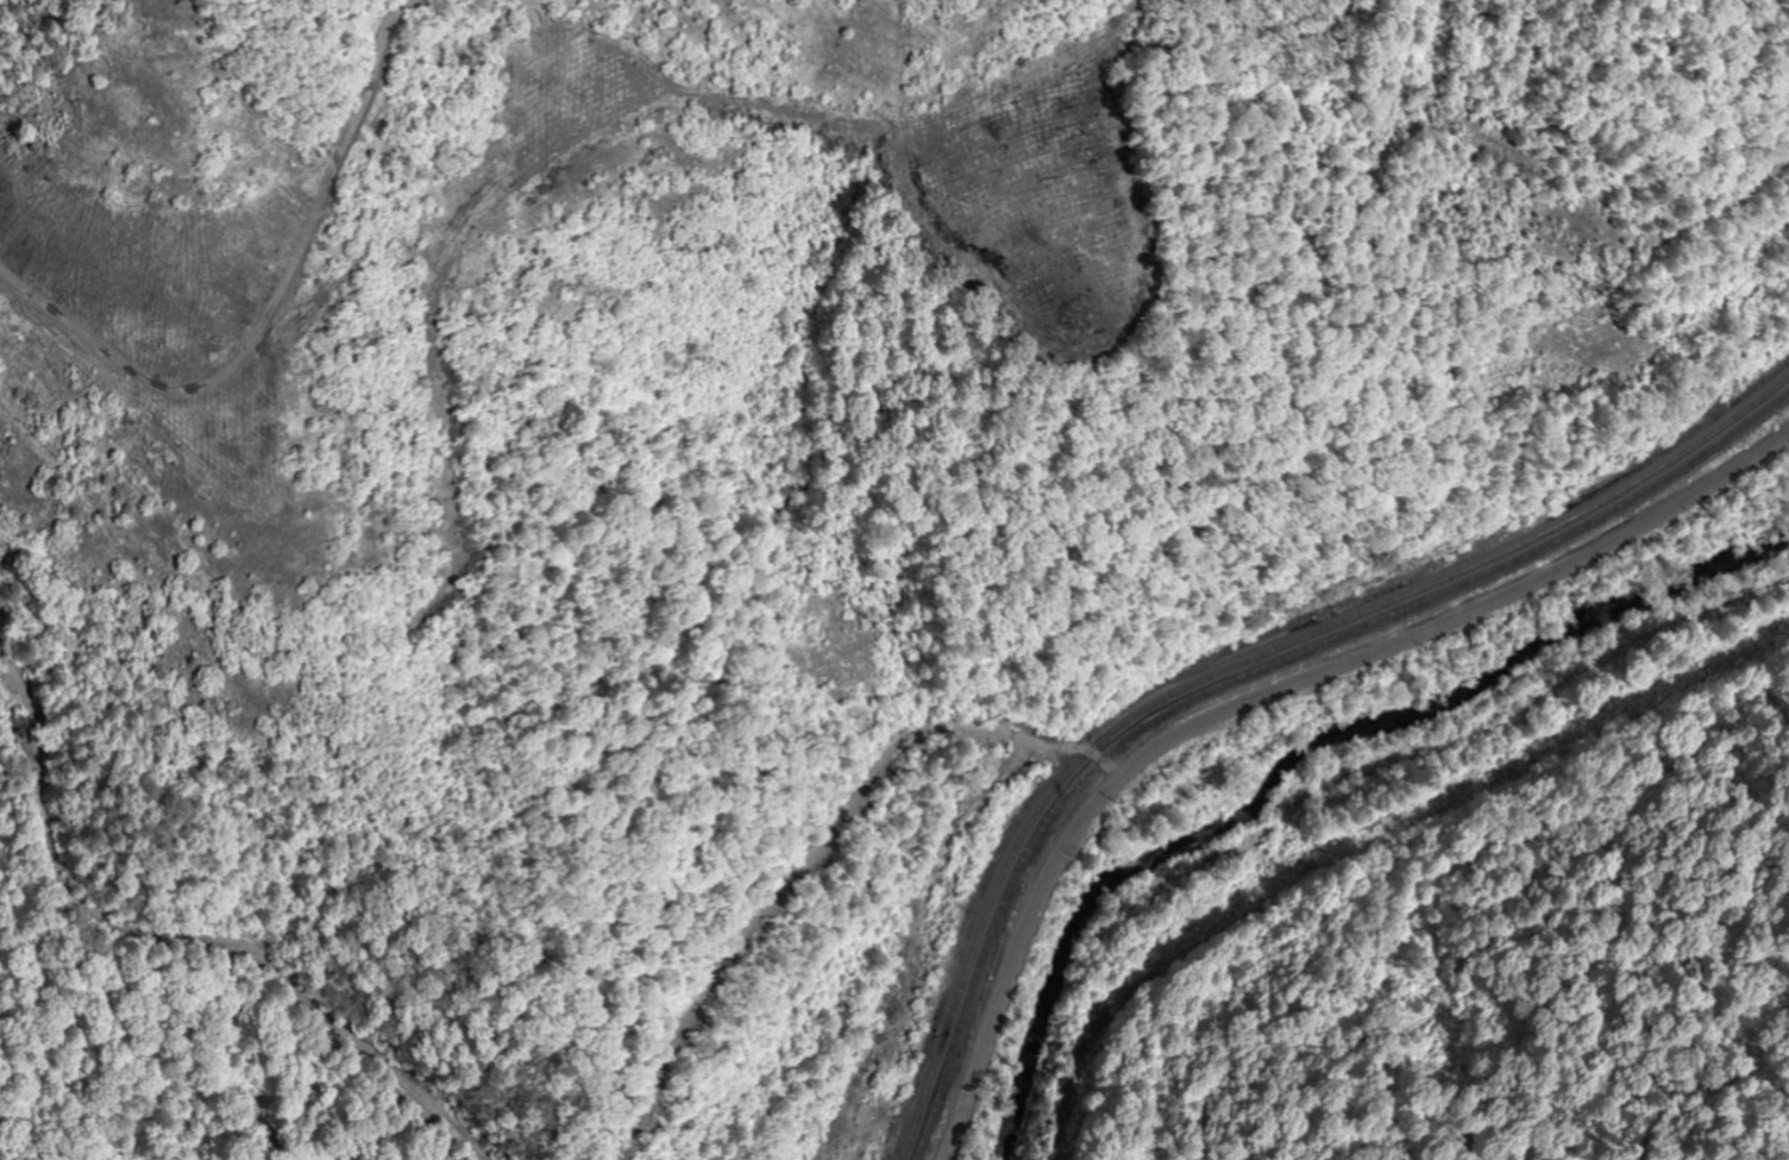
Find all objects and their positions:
railway: (1236, 665)
road: (1264, 700)

